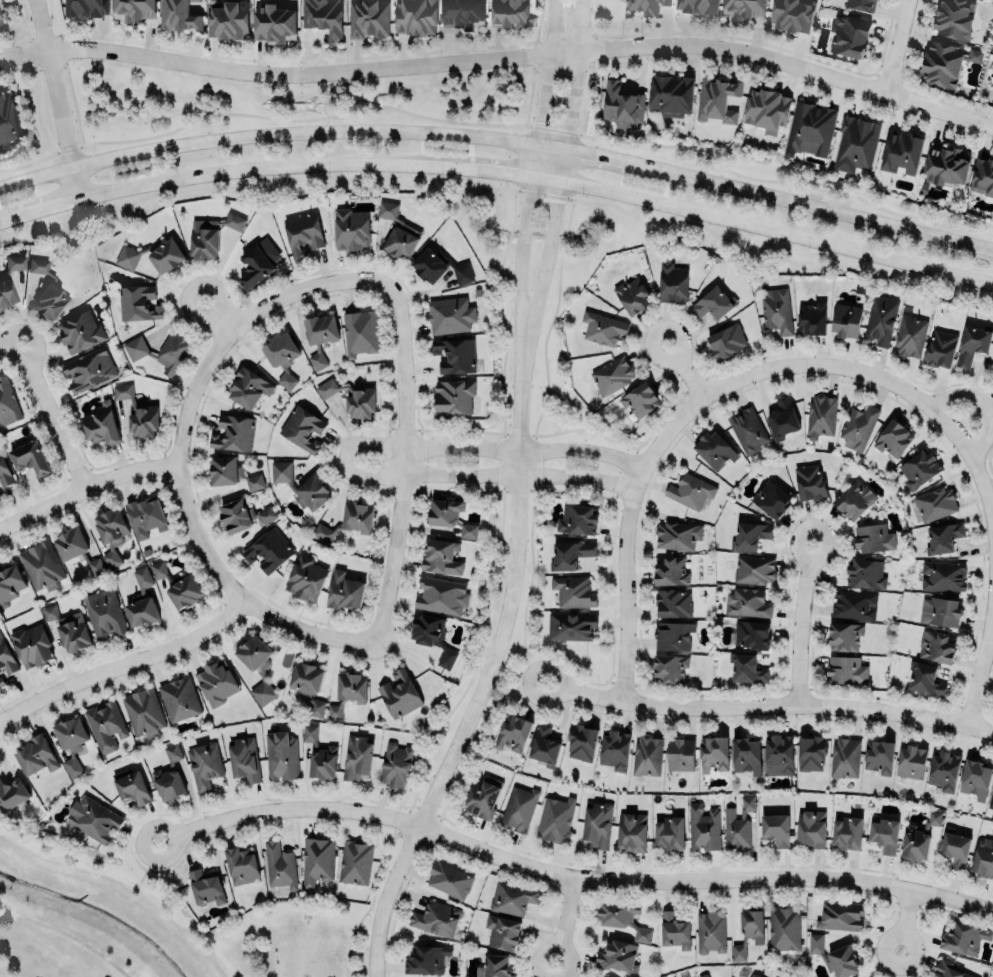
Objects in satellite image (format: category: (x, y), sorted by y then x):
building: (860, 4)
building: (646, 6)
building: (698, 6)
building: (86, 8)
road: (589, 8)
building: (744, 8)
building: (133, 9)
building: (503, 12)
building: (462, 13)
building: (792, 14)
building: (178, 15)
building: (324, 16)
building: (415, 17)
building: (369, 18)
building: (954, 18)
building: (229, 19)
building: (274, 22)
building: (849, 35)
road: (899, 48)
road: (501, 58)
building: (945, 61)
road: (530, 62)
road: (590, 67)
road: (541, 71)
road: (63, 72)
road: (32, 76)
road: (788, 78)
building: (670, 95)
road: (53, 98)
building: (717, 99)
building: (620, 105)
building: (767, 109)
building: (8, 116)
road: (262, 117)
building: (811, 128)
road: (552, 130)
road: (499, 138)
building: (856, 143)
building: (901, 151)
building: (945, 165)
road: (499, 174)
building: (983, 175)
road: (784, 180)
road: (255, 184)
road: (530, 194)
road: (545, 194)
road: (559, 196)
building: (351, 228)
building: (397, 232)
building: (211, 233)
building: (302, 233)
building: (153, 255)
building: (257, 260)
building: (14, 262)
building: (439, 266)
building: (672, 282)
building: (48, 290)
building: (6, 292)
building: (633, 295)
building: (138, 303)
building: (712, 303)
building: (776, 310)
road: (218, 314)
building: (450, 314)
building: (811, 317)
building: (845, 319)
building: (880, 320)
road: (243, 322)
building: (602, 328)
building: (80, 331)
building: (360, 332)
building: (320, 336)
building: (909, 336)
building: (726, 341)
road: (7, 342)
building: (973, 342)
building: (940, 349)
building: (159, 351)
building: (457, 355)
building: (281, 357)
building: (992, 361)
building: (88, 369)
road: (685, 369)
building: (612, 375)
road: (880, 378)
building: (249, 388)
building: (326, 388)
building: (454, 395)
building: (640, 399)
building: (7, 403)
building: (360, 403)
road: (986, 406)
building: (138, 412)
building: (821, 414)
road: (49, 415)
building: (783, 417)
building: (101, 423)
building: (858, 427)
building: (302, 428)
building: (748, 430)
building: (233, 433)
building: (893, 438)
building: (714, 450)
road: (345, 457)
building: (29, 458)
road: (403, 461)
building: (918, 469)
building: (5, 471)
building: (231, 473)
building: (808, 482)
building: (301, 485)
road: (87, 487)
building: (690, 491)
building: (0, 495)
building: (771, 499)
building: (854, 499)
building: (935, 503)
building: (242, 515)
building: (451, 515)
building: (145, 516)
building: (357, 516)
building: (577, 519)
building: (322, 532)
building: (111, 534)
road: (626, 535)
building: (677, 535)
building: (750, 535)
building: (943, 537)
building: (873, 538)
building: (69, 544)
building: (268, 550)
building: (570, 554)
building: (441, 557)
building: (40, 565)
building: (94, 567)
building: (754, 569)
building: (670, 571)
building: (865, 573)
building: (943, 575)
building: (305, 578)
building: (9, 582)
building: (178, 585)
building: (573, 590)
building: (344, 591)
building: (441, 595)
road: (240, 596)
building: (747, 602)
building: (672, 603)
building: (853, 604)
building: (142, 611)
building: (940, 611)
building: (103, 613)
road: (801, 622)
building: (571, 625)
building: (68, 628)
building: (751, 634)
building: (674, 635)
building: (844, 636)
building: (433, 637)
building: (31, 645)
building: (937, 646)
road: (523, 652)
building: (6, 657)
road: (124, 663)
building: (257, 666)
building: (669, 667)
building: (746, 669)
building: (847, 669)
road: (980, 673)
building: (1, 680)
building: (924, 680)
building: (218, 681)
building: (307, 686)
building: (348, 691)
road: (482, 691)
road: (504, 693)
building: (400, 694)
building: (179, 699)
road: (770, 704)
building: (143, 712)
building: (105, 725)
building: (513, 731)
building: (71, 742)
building: (581, 742)
building: (543, 745)
building: (615, 749)
building: (714, 753)
building: (811, 753)
building: (680, 754)
building: (746, 754)
building: (37, 755)
building: (280, 755)
building: (320, 755)
building: (647, 755)
building: (779, 755)
building: (878, 756)
building: (844, 757)
building: (356, 758)
building: (244, 759)
building: (911, 761)
building: (395, 765)
building: (204, 766)
building: (944, 771)
building: (169, 775)
building: (975, 779)
building: (132, 787)
building: (12, 794)
building: (483, 796)
building: (991, 800)
building: (519, 808)
building: (95, 819)
building: (555, 819)
building: (597, 824)
building: (737, 825)
building: (703, 827)
building: (776, 828)
building: (810, 828)
building: (632, 831)
building: (669, 833)
building: (847, 833)
building: (885, 835)
building: (919, 837)
building: (955, 848)
building: (983, 859)
building: (317, 860)
building: (355, 862)
road: (385, 864)
building: (241, 865)
building: (279, 865)
road: (143, 866)
road: (569, 877)
building: (450, 879)
road: (123, 886)
building: (206, 886)
building: (513, 898)
road: (2, 912)
building: (840, 916)
park: (90, 918)
building: (437, 918)
building: (621, 918)
road: (563, 920)
road: (907, 921)
building: (752, 925)
building: (784, 928)
building: (674, 930)
building: (710, 931)
building: (502, 932)
road: (65, 935)
building: (961, 938)
road: (350, 939)
park: (297, 940)
park: (304, 944)
building: (738, 953)
building: (616, 955)
building: (834, 956)
building: (427, 959)
building: (494, 966)
building: (949, 970)
building: (702, 975)
building: (752, 975)

